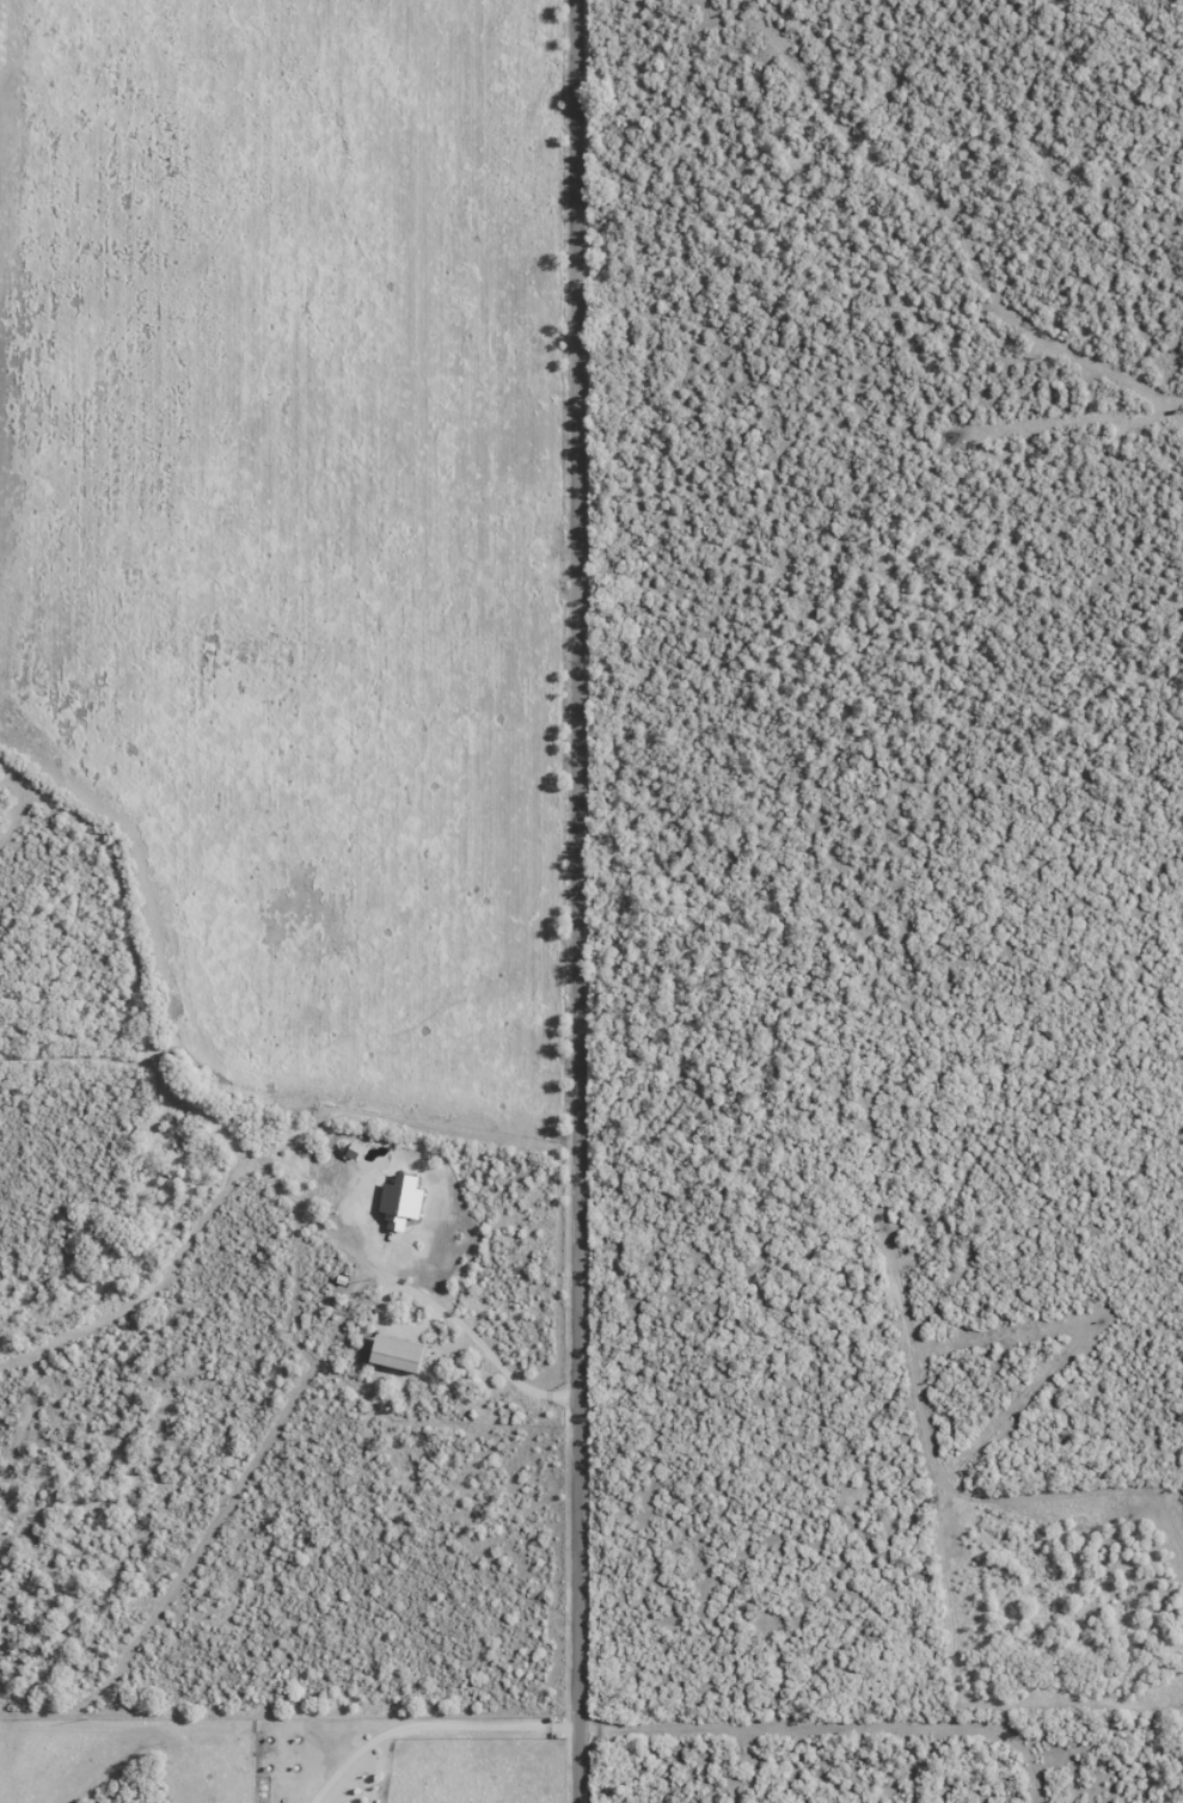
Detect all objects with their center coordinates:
road: (580, 901)
building: (402, 1201)
road: (443, 1310)
building: (406, 1355)
road: (811, 1607)
road: (430, 1725)

